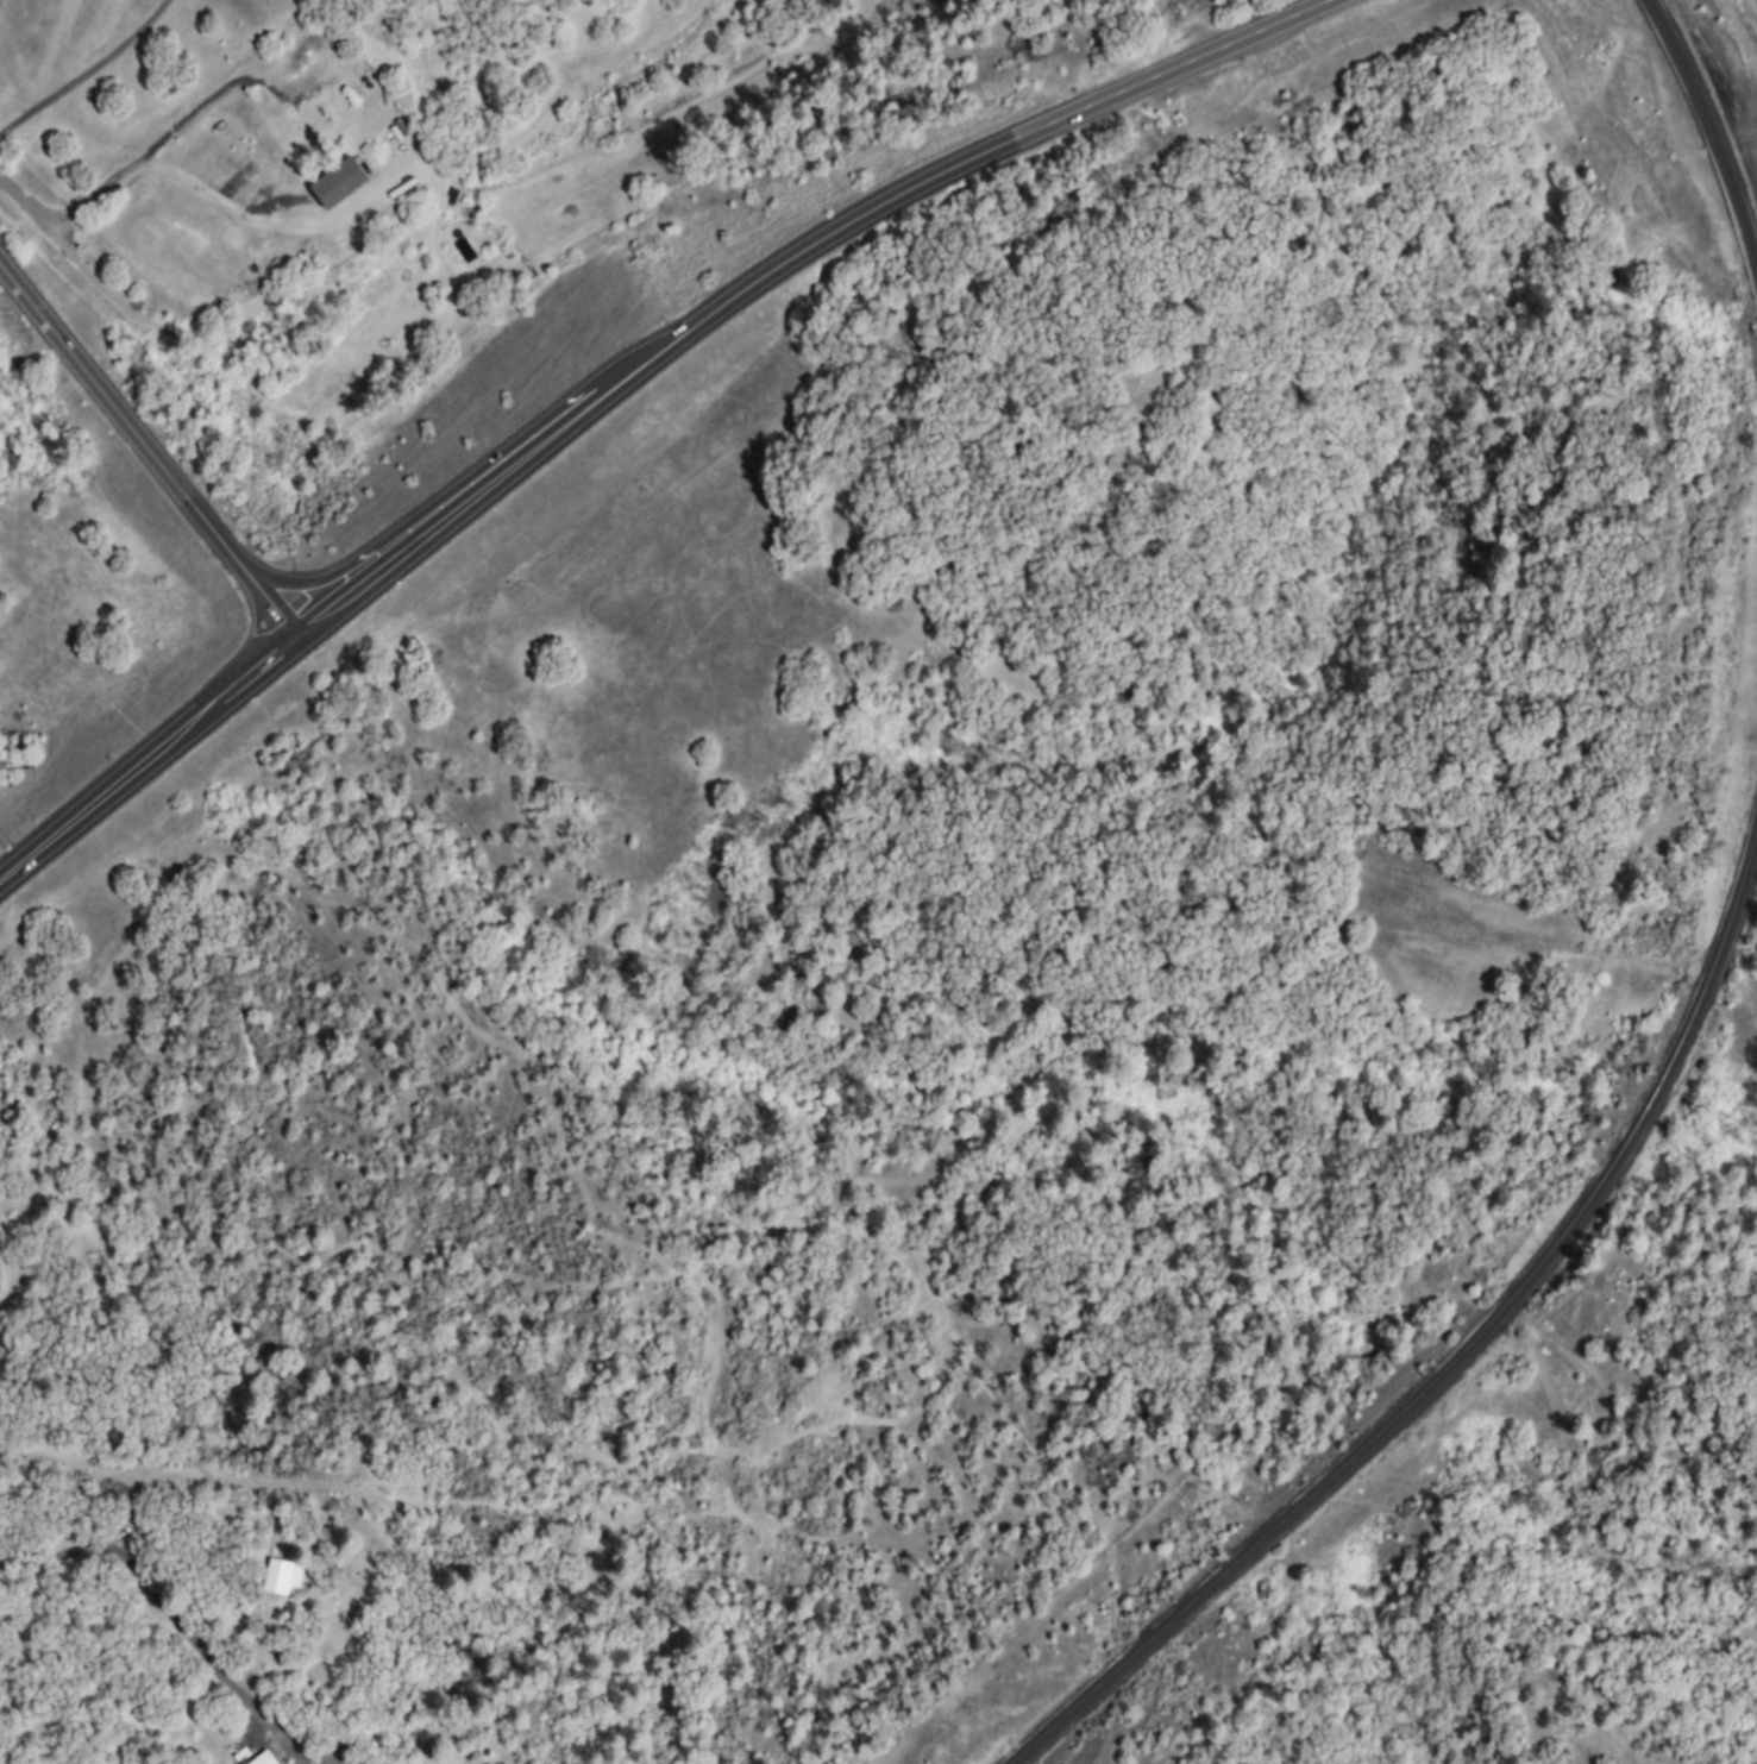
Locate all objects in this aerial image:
railway: (1711, 124)
building: (335, 184)
road: (619, 373)
road: (145, 456)
railway: (1460, 1361)
building: (262, 1759)

